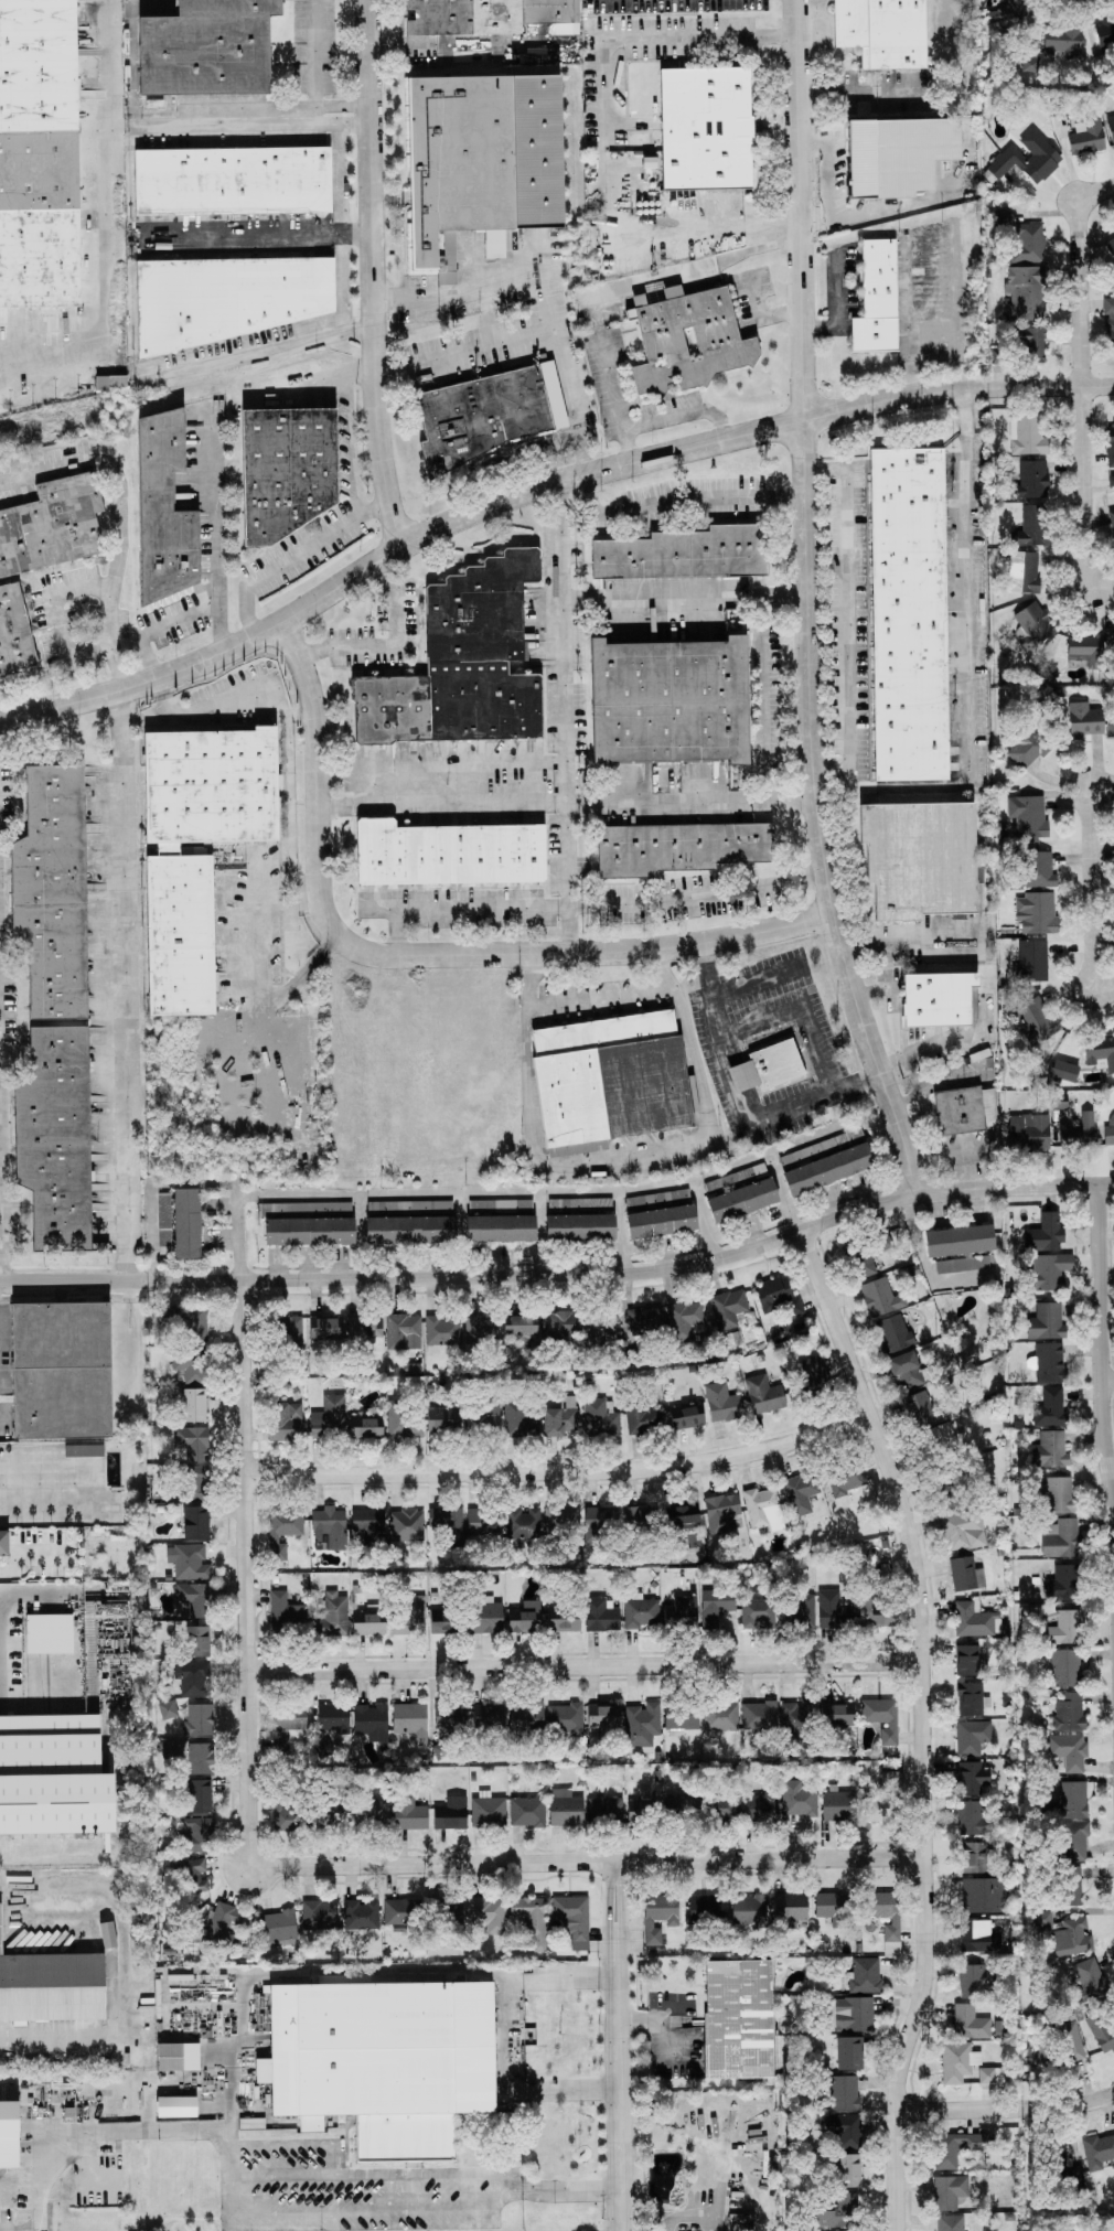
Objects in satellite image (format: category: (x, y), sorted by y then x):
building: (1009, 10)
building: (485, 15)
building: (881, 32)
building: (1104, 32)
building: (1062, 41)
road: (463, 45)
building: (207, 47)
road: (314, 53)
road: (602, 57)
building: (1030, 58)
building: (1060, 107)
road: (254, 108)
building: (1111, 127)
building: (705, 130)
building: (1086, 137)
building: (50, 153)
building: (896, 155)
building: (1028, 157)
building: (456, 160)
road: (825, 169)
building: (231, 183)
road: (1099, 192)
road: (900, 206)
building: (1003, 218)
road: (816, 223)
road: (104, 225)
road: (249, 235)
building: (1027, 242)
building: (1105, 253)
road: (368, 273)
road: (338, 281)
road: (615, 288)
road: (440, 292)
building: (1025, 292)
building: (874, 299)
building: (223, 300)
road: (835, 301)
road: (760, 315)
building: (1108, 322)
road: (551, 336)
building: (1037, 344)
building: (726, 346)
road: (260, 348)
road: (319, 380)
building: (110, 382)
road: (1084, 395)
road: (678, 411)
building: (479, 417)
building: (1029, 433)
road: (343, 443)
building: (1110, 444)
building: (283, 470)
building: (1031, 480)
building: (1111, 480)
road: (536, 489)
building: (162, 511)
building: (1111, 518)
building: (51, 525)
building: (1031, 526)
road: (213, 543)
road: (296, 554)
building: (683, 554)
building: (1022, 571)
road: (1102, 591)
road: (688, 593)
road: (812, 602)
road: (846, 613)
road: (53, 615)
building: (903, 618)
road: (567, 622)
building: (1031, 625)
road: (154, 628)
building: (1113, 631)
building: (13, 632)
road: (389, 643)
building: (1086, 650)
road: (966, 654)
building: (460, 665)
road: (237, 691)
road: (770, 693)
building: (668, 700)
road: (315, 709)
building: (1083, 720)
building: (1026, 748)
road: (446, 763)
road: (1102, 785)
building: (208, 787)
road: (569, 800)
road: (119, 816)
building: (1027, 816)
building: (676, 847)
building: (444, 852)
building: (913, 860)
building: (1038, 869)
road: (1092, 887)
building: (51, 893)
road: (589, 905)
building: (1036, 912)
building: (176, 935)
road: (909, 935)
road: (519, 954)
building: (1031, 961)
road: (309, 965)
road: (242, 982)
road: (1104, 988)
road: (598, 998)
building: (939, 999)
road: (799, 1007)
building: (1036, 1019)
building: (1100, 1051)
building: (765, 1068)
building: (1065, 1070)
building: (608, 1079)
road: (740, 1100)
building: (1059, 1101)
building: (957, 1112)
building: (1108, 1129)
building: (1028, 1131)
building: (1079, 1131)
building: (54, 1139)
road: (964, 1143)
road: (619, 1161)
building: (827, 1169)
building: (735, 1179)
road: (146, 1188)
road: (551, 1190)
road: (780, 1197)
building: (164, 1200)
building: (657, 1200)
building: (742, 1200)
building: (410, 1205)
building: (306, 1206)
building: (661, 1221)
road: (700, 1221)
building: (186, 1223)
building: (500, 1227)
building: (579, 1227)
building: (409, 1229)
building: (309, 1231)
road: (618, 1231)
building: (1045, 1232)
road: (459, 1234)
road: (537, 1234)
road: (356, 1236)
building: (958, 1240)
building: (963, 1264)
building: (864, 1266)
building: (1049, 1270)
road: (563, 1276)
building: (776, 1295)
building: (880, 1297)
building: (727, 1307)
building: (644, 1319)
building: (684, 1320)
building: (185, 1321)
building: (1046, 1321)
building: (557, 1324)
building: (519, 1326)
building: (291, 1327)
building: (480, 1328)
building: (324, 1331)
building: (404, 1331)
building: (441, 1331)
building: (362, 1333)
building: (891, 1333)
building: (1049, 1362)
building: (190, 1363)
building: (57, 1370)
building: (904, 1370)
building: (810, 1371)
road: (1096, 1377)
road: (1105, 1381)
building: (763, 1394)
building: (722, 1403)
building: (193, 1404)
building: (1050, 1408)
building: (918, 1409)
building: (687, 1415)
building: (486, 1417)
building: (560, 1417)
building: (286, 1418)
building: (328, 1418)
building: (442, 1418)
building: (599, 1418)
building: (401, 1419)
building: (519, 1419)
building: (643, 1419)
building: (365, 1426)
building: (1049, 1449)
road: (560, 1471)
building: (846, 1478)
building: (799, 1492)
building: (944, 1493)
building: (1059, 1494)
road: (46, 1506)
building: (763, 1508)
building: (720, 1512)
building: (636, 1515)
building: (682, 1515)
building: (601, 1516)
building: (560, 1519)
building: (368, 1522)
building: (483, 1522)
building: (525, 1522)
building: (193, 1523)
road: (240, 1523)
building: (448, 1524)
building: (406, 1525)
building: (329, 1529)
building: (282, 1530)
building: (963, 1530)
building: (1061, 1538)
building: (2, 1544)
road: (25, 1558)
building: (188, 1560)
building: (965, 1576)
building: (1063, 1583)
road: (51, 1596)
building: (193, 1597)
building: (716, 1605)
building: (833, 1609)
building: (681, 1610)
building: (757, 1610)
building: (796, 1610)
building: (641, 1611)
building: (334, 1612)
building: (286, 1613)
building: (600, 1613)
building: (874, 1613)
building: (524, 1617)
building: (973, 1619)
building: (367, 1622)
building: (444, 1622)
building: (1065, 1627)
building: (49, 1633)
building: (196, 1641)
road: (10, 1643)
building: (968, 1659)
road: (583, 1665)
building: (1065, 1666)
building: (195, 1678)
building: (971, 1698)
building: (168, 1708)
building: (1069, 1709)
building: (836, 1713)
building: (880, 1713)
building: (449, 1715)
building: (797, 1715)
building: (720, 1716)
building: (759, 1716)
building: (489, 1717)
building: (527, 1717)
building: (603, 1717)
building: (681, 1717)
building: (199, 1718)
building: (289, 1718)
building: (332, 1718)
building: (565, 1718)
building: (410, 1720)
building: (371, 1721)
road: (925, 1721)
building: (972, 1736)
building: (168, 1748)
building: (1068, 1750)
building: (200, 1758)
building: (972, 1777)
building: (53, 1780)
building: (199, 1795)
building: (797, 1799)
building: (883, 1799)
building: (1065, 1800)
building: (682, 1801)
building: (761, 1805)
building: (838, 1805)
building: (565, 1808)
building: (724, 1808)
building: (376, 1810)
building: (488, 1811)
building: (526, 1811)
building: (408, 1812)
building: (613, 1812)
building: (450, 1813)
building: (971, 1817)
building: (197, 1835)
building: (1073, 1839)
building: (975, 1857)
road: (587, 1862)
building: (194, 1865)
building: (1072, 1887)
building: (983, 1895)
building: (527, 1906)
building: (789, 1908)
building: (832, 1908)
building: (727, 1909)
building: (401, 1910)
building: (488, 1913)
building: (319, 1914)
building: (360, 1914)
building: (658, 1916)
building: (886, 1917)
building: (572, 1919)
building: (278, 1926)
building: (536, 1933)
building: (1064, 1933)
building: (978, 1937)
road: (126, 1938)
building: (865, 1975)
building: (1089, 1978)
building: (977, 1980)
building: (50, 1989)
building: (853, 2014)
building: (732, 2021)
building: (970, 2023)
building: (1101, 2030)
road: (508, 2032)
road: (49, 2038)
building: (1061, 2039)
road: (621, 2046)
road: (225, 2048)
building: (848, 2052)
building: (176, 2056)
building: (383, 2058)
building: (957, 2061)
building: (990, 2074)
building: (843, 2091)
building: (175, 2106)
road: (1007, 2109)
building: (839, 2124)
building: (8, 2128)
road: (297, 2144)
building: (958, 2146)
building: (1099, 2149)
building: (847, 2169)
road: (428, 2175)
road: (226, 2182)
building: (947, 2191)
building: (839, 2211)
building: (949, 2222)
building: (850, 2230)

